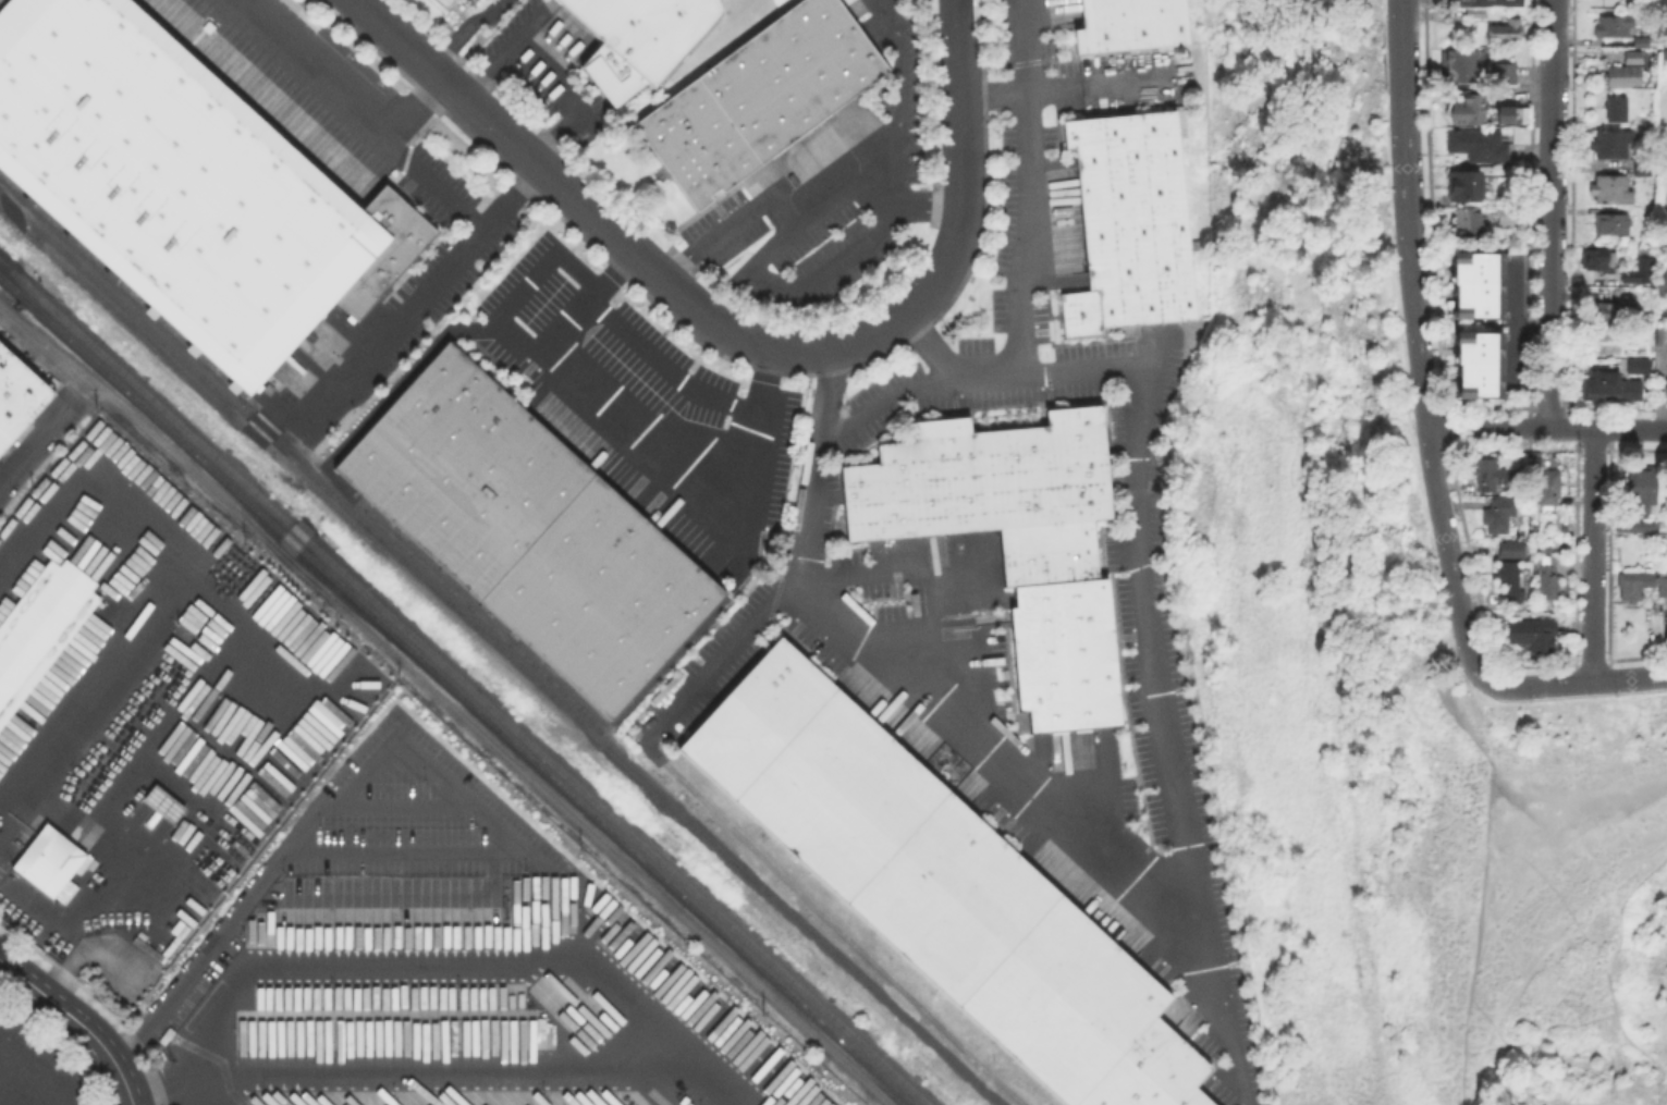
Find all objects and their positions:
building: (474, 0)
building: (476, 0)
building: (2, 1)
building: (1486, 7)
building: (1130, 25)
building: (1614, 27)
road: (466, 29)
building: (1505, 32)
building: (641, 39)
building: (1666, 40)
building: (1645, 44)
road: (1025, 48)
building: (1664, 53)
building: (1634, 59)
building: (1459, 66)
road: (550, 70)
building: (1506, 74)
road: (903, 76)
building: (1623, 76)
road: (1095, 83)
building: (761, 99)
road: (416, 108)
building: (1616, 109)
building: (1470, 110)
road: (363, 113)
building: (1510, 113)
building: (1610, 144)
building: (1479, 146)
road: (865, 179)
building: (173, 181)
building: (1467, 187)
building: (1613, 191)
road: (1032, 204)
road: (1409, 213)
road: (1550, 213)
building: (1665, 213)
building: (1506, 217)
building: (1129, 223)
building: (1614, 223)
building: (1468, 226)
building: (385, 249)
building: (1592, 257)
railway: (3, 263)
building: (1632, 271)
road: (758, 273)
road: (440, 280)
building: (1659, 282)
building: (1476, 283)
road: (526, 290)
road: (595, 299)
building: (1616, 310)
road: (738, 335)
building: (1663, 339)
railway: (188, 349)
building: (1478, 363)
building: (1635, 364)
road: (671, 368)
building: (1665, 380)
building: (1609, 389)
building: (1666, 392)
building: (17, 395)
road: (897, 410)
road: (1545, 427)
road: (695, 461)
building: (1491, 476)
building: (1549, 490)
building: (1643, 490)
road: (86, 496)
building: (1500, 517)
building: (1639, 526)
road: (1139, 528)
building: (531, 531)
building: (1014, 542)
building: (1513, 551)
road: (1593, 556)
road: (794, 574)
building: (1511, 580)
building: (1549, 580)
building: (1663, 586)
building: (1634, 587)
building: (41, 630)
building: (1534, 635)
road: (1466, 646)
railway: (518, 649)
railway: (503, 650)
park: (1372, 675)
road: (103, 676)
railway: (464, 682)
railway: (456, 689)
road: (446, 701)
road: (1567, 765)
road: (13, 786)
road: (224, 787)
road: (0, 801)
building: (161, 803)
road: (1055, 820)
road: (292, 838)
building: (50, 862)
road: (1482, 864)
building: (941, 889)
park: (1566, 898)
road: (1355, 912)
road: (1558, 947)
road: (468, 965)
road: (1608, 982)
road: (77, 1022)
road: (1521, 1039)
road: (1604, 1049)
road: (184, 1072)
road: (36, 1073)
railway: (857, 1085)
road: (1460, 1104)

